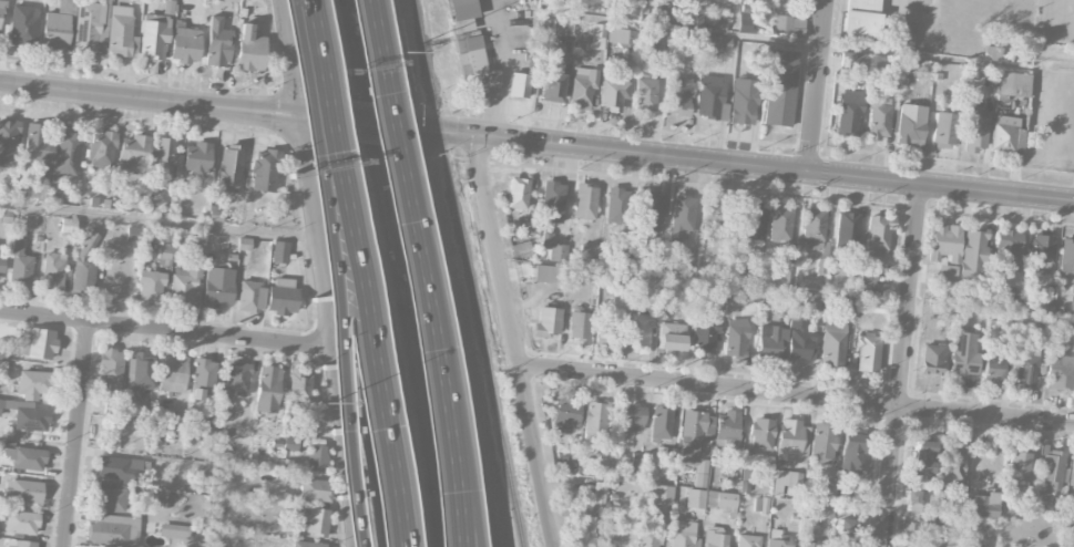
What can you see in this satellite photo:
building: (67, 7)
building: (0, 13)
building: (462, 14)
building: (746, 17)
building: (861, 17)
building: (694, 20)
building: (715, 23)
building: (24, 25)
building: (788, 25)
building: (563, 28)
building: (89, 29)
building: (55, 30)
building: (121, 32)
building: (903, 33)
building: (154, 37)
building: (599, 37)
building: (621, 37)
building: (658, 39)
building: (217, 43)
building: (717, 44)
road: (810, 44)
building: (185, 45)
building: (249, 50)
building: (853, 61)
building: (474, 63)
road: (502, 69)
building: (1013, 84)
building: (519, 85)
road: (817, 86)
building: (582, 87)
building: (780, 87)
building: (614, 92)
building: (710, 93)
building: (645, 94)
building: (678, 96)
road: (162, 102)
building: (743, 102)
building: (848, 113)
building: (878, 120)
road: (357, 124)
building: (910, 126)
building: (944, 130)
building: (975, 130)
building: (1006, 134)
building: (8, 143)
building: (38, 148)
building: (102, 151)
building: (65, 152)
building: (135, 153)
building: (197, 158)
building: (163, 159)
road: (732, 165)
building: (229, 166)
building: (264, 171)
building: (32, 186)
building: (518, 194)
building: (552, 203)
building: (584, 203)
building: (616, 205)
building: (651, 211)
building: (215, 214)
building: (715, 216)
building: (682, 217)
road: (157, 219)
building: (753, 223)
building: (780, 224)
building: (68, 226)
building: (814, 228)
building: (847, 230)
building: (133, 234)
building: (878, 235)
building: (165, 237)
building: (545, 239)
building: (944, 242)
building: (520, 249)
building: (973, 250)
building: (1006, 251)
building: (279, 252)
building: (558, 252)
building: (589, 254)
building: (1041, 254)
building: (164, 255)
building: (1066, 256)
building: (85, 262)
building: (20, 265)
building: (2, 266)
building: (822, 266)
building: (53, 271)
road: (418, 271)
road: (321, 272)
road: (333, 272)
road: (357, 272)
road: (374, 272)
road: (406, 272)
railway: (468, 273)
building: (546, 275)
building: (947, 275)
building: (872, 281)
building: (185, 285)
building: (151, 286)
building: (751, 293)
building: (216, 295)
building: (250, 296)
building: (282, 297)
building: (1072, 299)
building: (845, 303)
building: (1036, 305)
building: (549, 322)
building: (580, 324)
building: (606, 327)
road: (166, 329)
building: (638, 330)
building: (704, 336)
building: (672, 337)
road: (456, 338)
building: (736, 338)
building: (799, 338)
road: (513, 342)
building: (771, 342)
building: (38, 343)
building: (832, 344)
building: (867, 353)
building: (963, 354)
building: (931, 359)
road: (902, 367)
building: (1025, 369)
building: (111, 370)
building: (991, 370)
building: (1058, 370)
building: (173, 373)
building: (237, 378)
building: (203, 379)
building: (33, 384)
building: (267, 389)
building: (298, 390)
road: (796, 396)
building: (18, 404)
building: (0, 406)
building: (565, 415)
building: (631, 417)
building: (31, 420)
building: (595, 420)
building: (661, 423)
building: (307, 430)
building: (727, 430)
road: (76, 434)
building: (761, 434)
building: (694, 435)
building: (791, 441)
building: (822, 441)
building: (290, 444)
road: (357, 447)
building: (852, 451)
building: (316, 457)
building: (25, 458)
building: (921, 458)
building: (636, 463)
building: (564, 464)
building: (671, 464)
building: (952, 464)
building: (1019, 465)
building: (119, 467)
building: (1072, 472)
building: (1051, 473)
building: (746, 475)
building: (786, 481)
building: (315, 491)
building: (23, 492)
building: (662, 495)
building: (695, 498)
building: (722, 502)
road: (464, 503)
building: (760, 505)
building: (982, 505)
road: (483, 510)
building: (110, 516)
building: (910, 517)
building: (1073, 517)
building: (316, 522)
building: (21, 523)
building: (175, 531)
building: (586, 531)
building: (652, 531)
building: (847, 531)
building: (683, 533)
building: (716, 538)
building: (777, 539)
building: (747, 540)
building: (19, 544)
building: (307, 544)
building: (808, 545)

